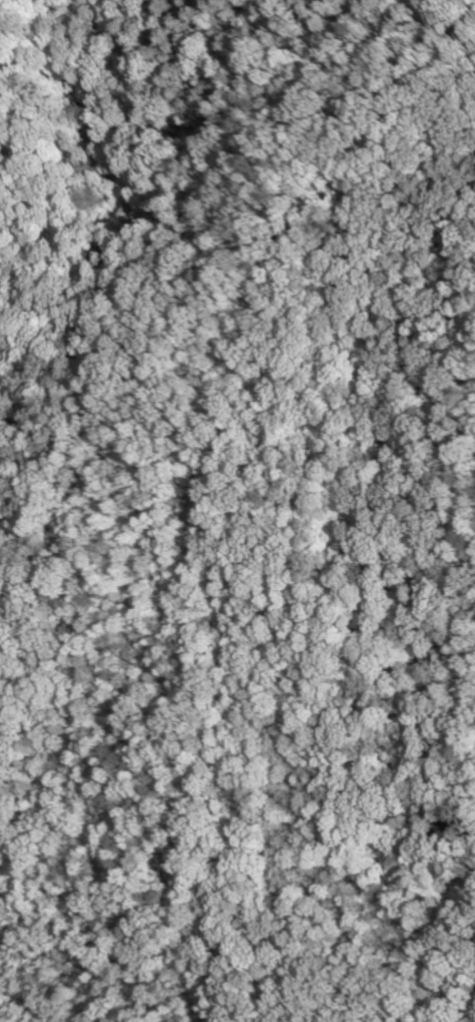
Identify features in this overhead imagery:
road: (156, 926)

